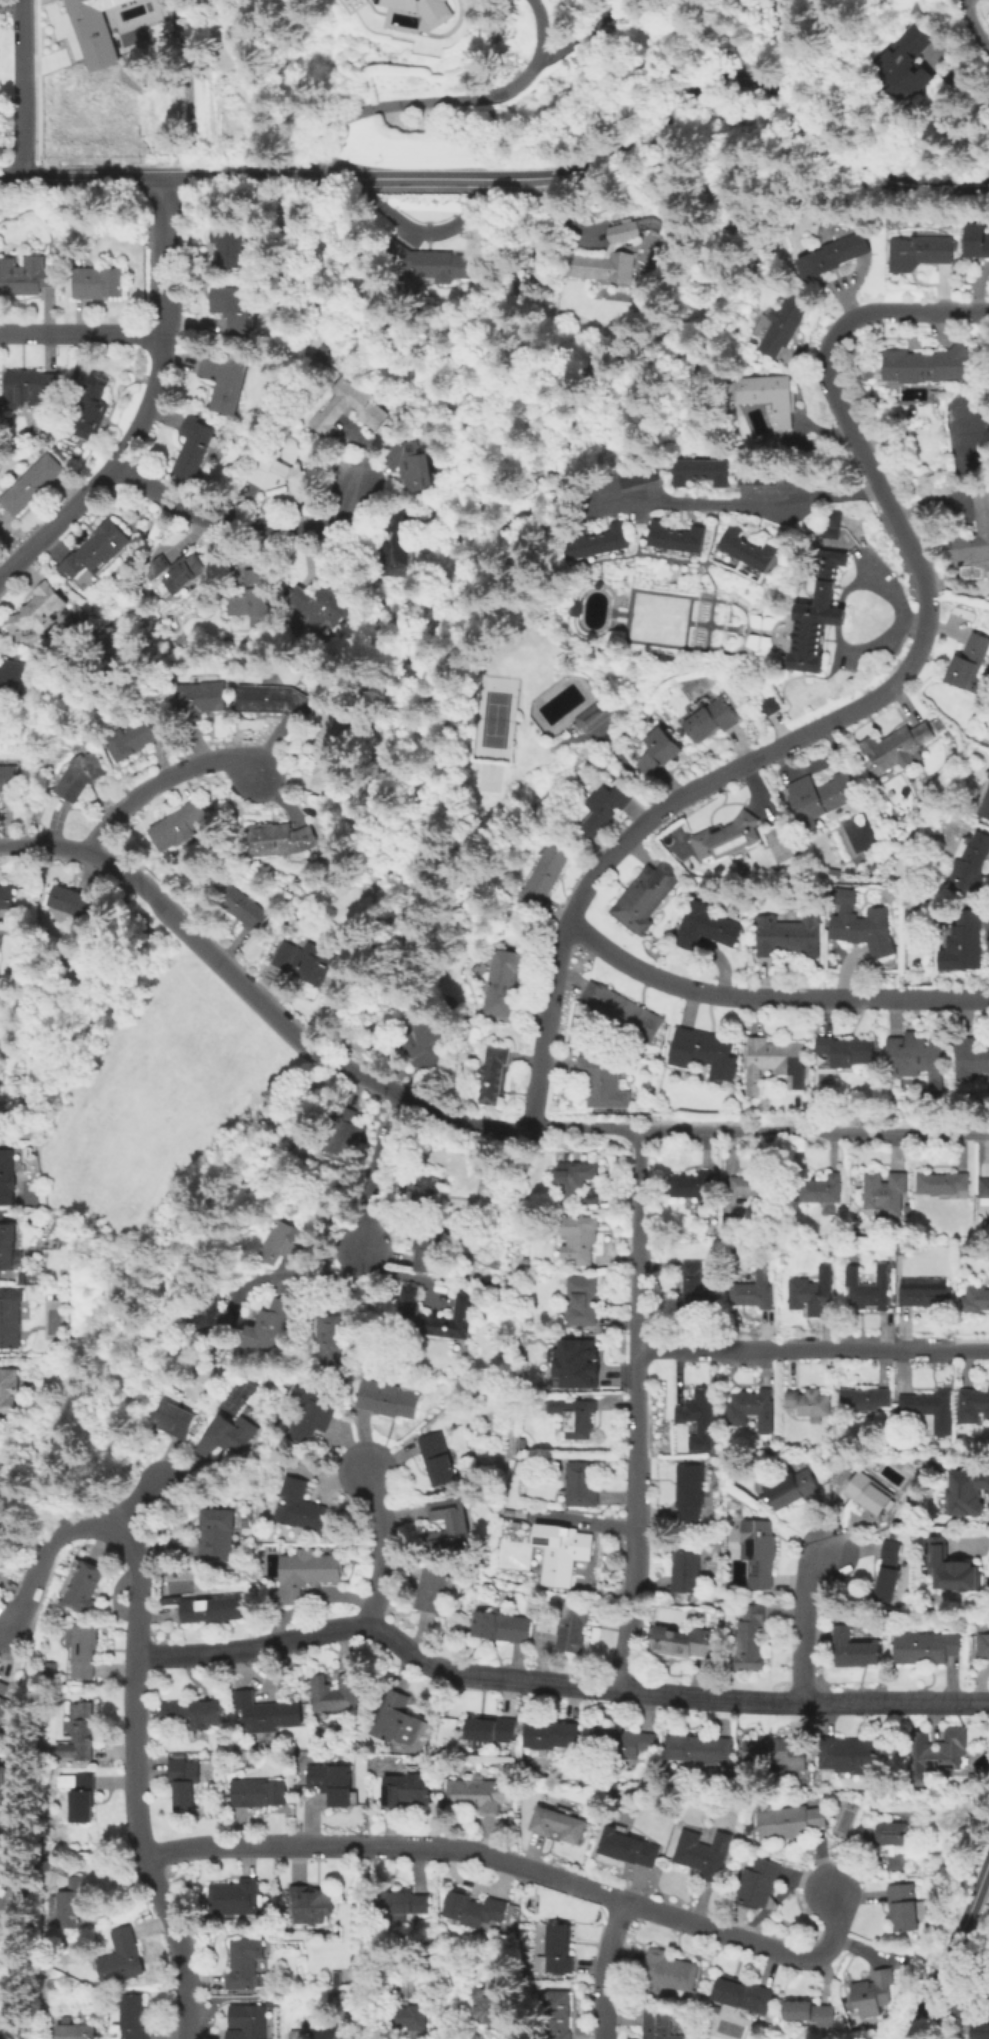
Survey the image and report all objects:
road: (10, 2)
road: (964, 2)
road: (966, 2)
building: (424, 10)
road: (543, 26)
road: (976, 26)
building: (92, 31)
road: (584, 34)
building: (906, 64)
road: (36, 82)
road: (20, 88)
road: (189, 89)
road: (412, 103)
road: (608, 157)
road: (26, 164)
road: (38, 164)
road: (41, 173)
road: (82, 178)
building: (975, 237)
building: (229, 244)
building: (920, 250)
building: (617, 251)
building: (832, 254)
building: (425, 261)
building: (528, 273)
building: (24, 278)
building: (101, 283)
building: (231, 306)
road: (909, 312)
building: (783, 322)
road: (82, 332)
building: (320, 352)
building: (925, 364)
building: (225, 380)
building: (29, 381)
building: (767, 394)
building: (92, 403)
road: (148, 404)
building: (369, 408)
building: (192, 447)
building: (409, 464)
building: (698, 470)
building: (634, 475)
building: (755, 475)
building: (279, 480)
building: (30, 483)
road: (739, 503)
building: (981, 508)
building: (829, 516)
road: (238, 523)
road: (644, 527)
building: (827, 531)
road: (711, 532)
building: (673, 536)
building: (597, 540)
building: (395, 542)
building: (744, 548)
building: (99, 551)
road: (673, 558)
building: (158, 564)
building: (183, 571)
road: (371, 580)
road: (847, 583)
road: (711, 588)
building: (251, 592)
road: (580, 603)
building: (320, 604)
road: (608, 607)
building: (38, 609)
road: (611, 611)
road: (465, 613)
road: (619, 613)
road: (626, 614)
road: (607, 615)
road: (834, 615)
building: (814, 616)
road: (896, 617)
road: (685, 621)
road: (695, 622)
road: (704, 623)
road: (909, 624)
road: (722, 626)
road: (705, 639)
road: (421, 644)
building: (968, 660)
building: (11, 673)
road: (588, 677)
street lamp: (471, 691)
street lamp: (518, 694)
building: (200, 697)
building: (271, 698)
building: (766, 705)
street lamp: (469, 713)
building: (592, 714)
park: (492, 717)
building: (710, 717)
street lamp: (515, 718)
road: (605, 722)
building: (132, 736)
street lamp: (467, 737)
road: (426, 738)
road: (572, 738)
road: (789, 738)
street lamp: (513, 741)
building: (331, 745)
building: (900, 745)
building: (658, 749)
street lamp: (465, 759)
street lamp: (510, 763)
road: (627, 768)
building: (79, 773)
park: (487, 774)
building: (988, 775)
building: (7, 777)
road: (158, 782)
road: (400, 788)
building: (821, 798)
road: (419, 799)
road: (387, 801)
building: (985, 803)
building: (604, 806)
building: (179, 828)
building: (281, 837)
building: (727, 838)
road: (364, 862)
building: (971, 864)
road: (466, 866)
building: (832, 871)
building: (541, 876)
building: (645, 894)
building: (6, 896)
building: (70, 900)
building: (243, 906)
building: (861, 922)
building: (708, 929)
building: (786, 934)
building: (962, 946)
building: (304, 960)
building: (503, 981)
road: (767, 997)
building: (623, 1012)
building: (422, 1039)
building: (845, 1049)
building: (700, 1050)
building: (914, 1055)
building: (969, 1057)
building: (771, 1061)
building: (495, 1072)
building: (604, 1086)
park: (156, 1107)
road: (448, 1116)
building: (342, 1135)
road: (377, 1169)
building: (575, 1177)
building: (8, 1178)
building: (942, 1181)
building: (756, 1183)
building: (692, 1184)
building: (984, 1186)
building: (820, 1188)
building: (884, 1191)
building: (429, 1193)
building: (589, 1198)
building: (907, 1209)
building: (1, 1215)
building: (732, 1225)
building: (579, 1235)
building: (283, 1241)
building: (6, 1245)
building: (430, 1246)
building: (892, 1264)
road: (297, 1276)
building: (693, 1286)
building: (869, 1288)
building: (753, 1292)
building: (811, 1295)
building: (926, 1295)
building: (584, 1296)
building: (975, 1298)
building: (211, 1311)
building: (436, 1314)
building: (9, 1319)
building: (268, 1324)
building: (337, 1337)
road: (814, 1349)
building: (576, 1361)
building: (8, 1391)
building: (864, 1397)
building: (390, 1398)
building: (809, 1401)
building: (973, 1404)
building: (749, 1405)
building: (929, 1409)
road: (639, 1412)
building: (313, 1413)
building: (578, 1417)
building: (695, 1417)
building: (174, 1418)
building: (223, 1436)
building: (521, 1442)
road: (19, 1452)
building: (439, 1457)
road: (52, 1458)
building: (582, 1483)
building: (794, 1488)
road: (93, 1490)
building: (689, 1491)
building: (868, 1491)
building: (967, 1493)
road: (131, 1503)
building: (302, 1505)
building: (448, 1522)
building: (218, 1532)
road: (387, 1549)
building: (759, 1550)
building: (563, 1554)
building: (952, 1570)
building: (306, 1571)
building: (888, 1571)
building: (685, 1574)
building: (84, 1585)
building: (431, 1589)
building: (208, 1607)
road: (805, 1623)
building: (500, 1625)
building: (573, 1626)
building: (751, 1637)
building: (683, 1640)
building: (983, 1645)
building: (854, 1647)
building: (85, 1649)
building: (928, 1650)
building: (51, 1669)
road: (555, 1685)
building: (335, 1692)
road: (136, 1698)
building: (4, 1705)
building: (265, 1712)
building: (194, 1715)
building: (395, 1717)
building: (489, 1729)
building: (83, 1732)
building: (551, 1734)
building: (623, 1741)
building: (699, 1748)
building: (773, 1753)
building: (853, 1754)
building: (217, 1755)
building: (930, 1757)
building: (976, 1777)
building: (184, 1781)
building: (331, 1781)
building: (13, 1786)
building: (406, 1789)
building: (258, 1791)
building: (81, 1794)
building: (473, 1794)
building: (790, 1820)
building: (558, 1823)
building: (894, 1832)
building: (627, 1846)
building: (705, 1854)
building: (46, 1861)
building: (898, 1861)
building: (65, 1865)
road: (524, 1866)
building: (759, 1882)
building: (234, 1896)
building: (16, 1901)
building: (72, 1903)
building: (310, 1903)
building: (401, 1903)
building: (905, 1906)
building: (474, 1908)
building: (556, 1949)
road: (949, 1949)
building: (122, 1956)
building: (243, 1964)
road: (605, 1968)
building: (668, 1970)
building: (336, 1978)
building: (389, 1983)
building: (414, 1987)
building: (872, 1992)
building: (742, 1993)
building: (335, 1998)
building: (269, 2000)
building: (489, 2005)
building: (809, 2011)
building: (557, 2014)
building: (398, 2016)
building: (134, 2017)
building: (246, 2022)
building: (659, 2023)
building: (326, 2029)
building: (979, 2030)
building: (76, 2031)
building: (297, 2034)

